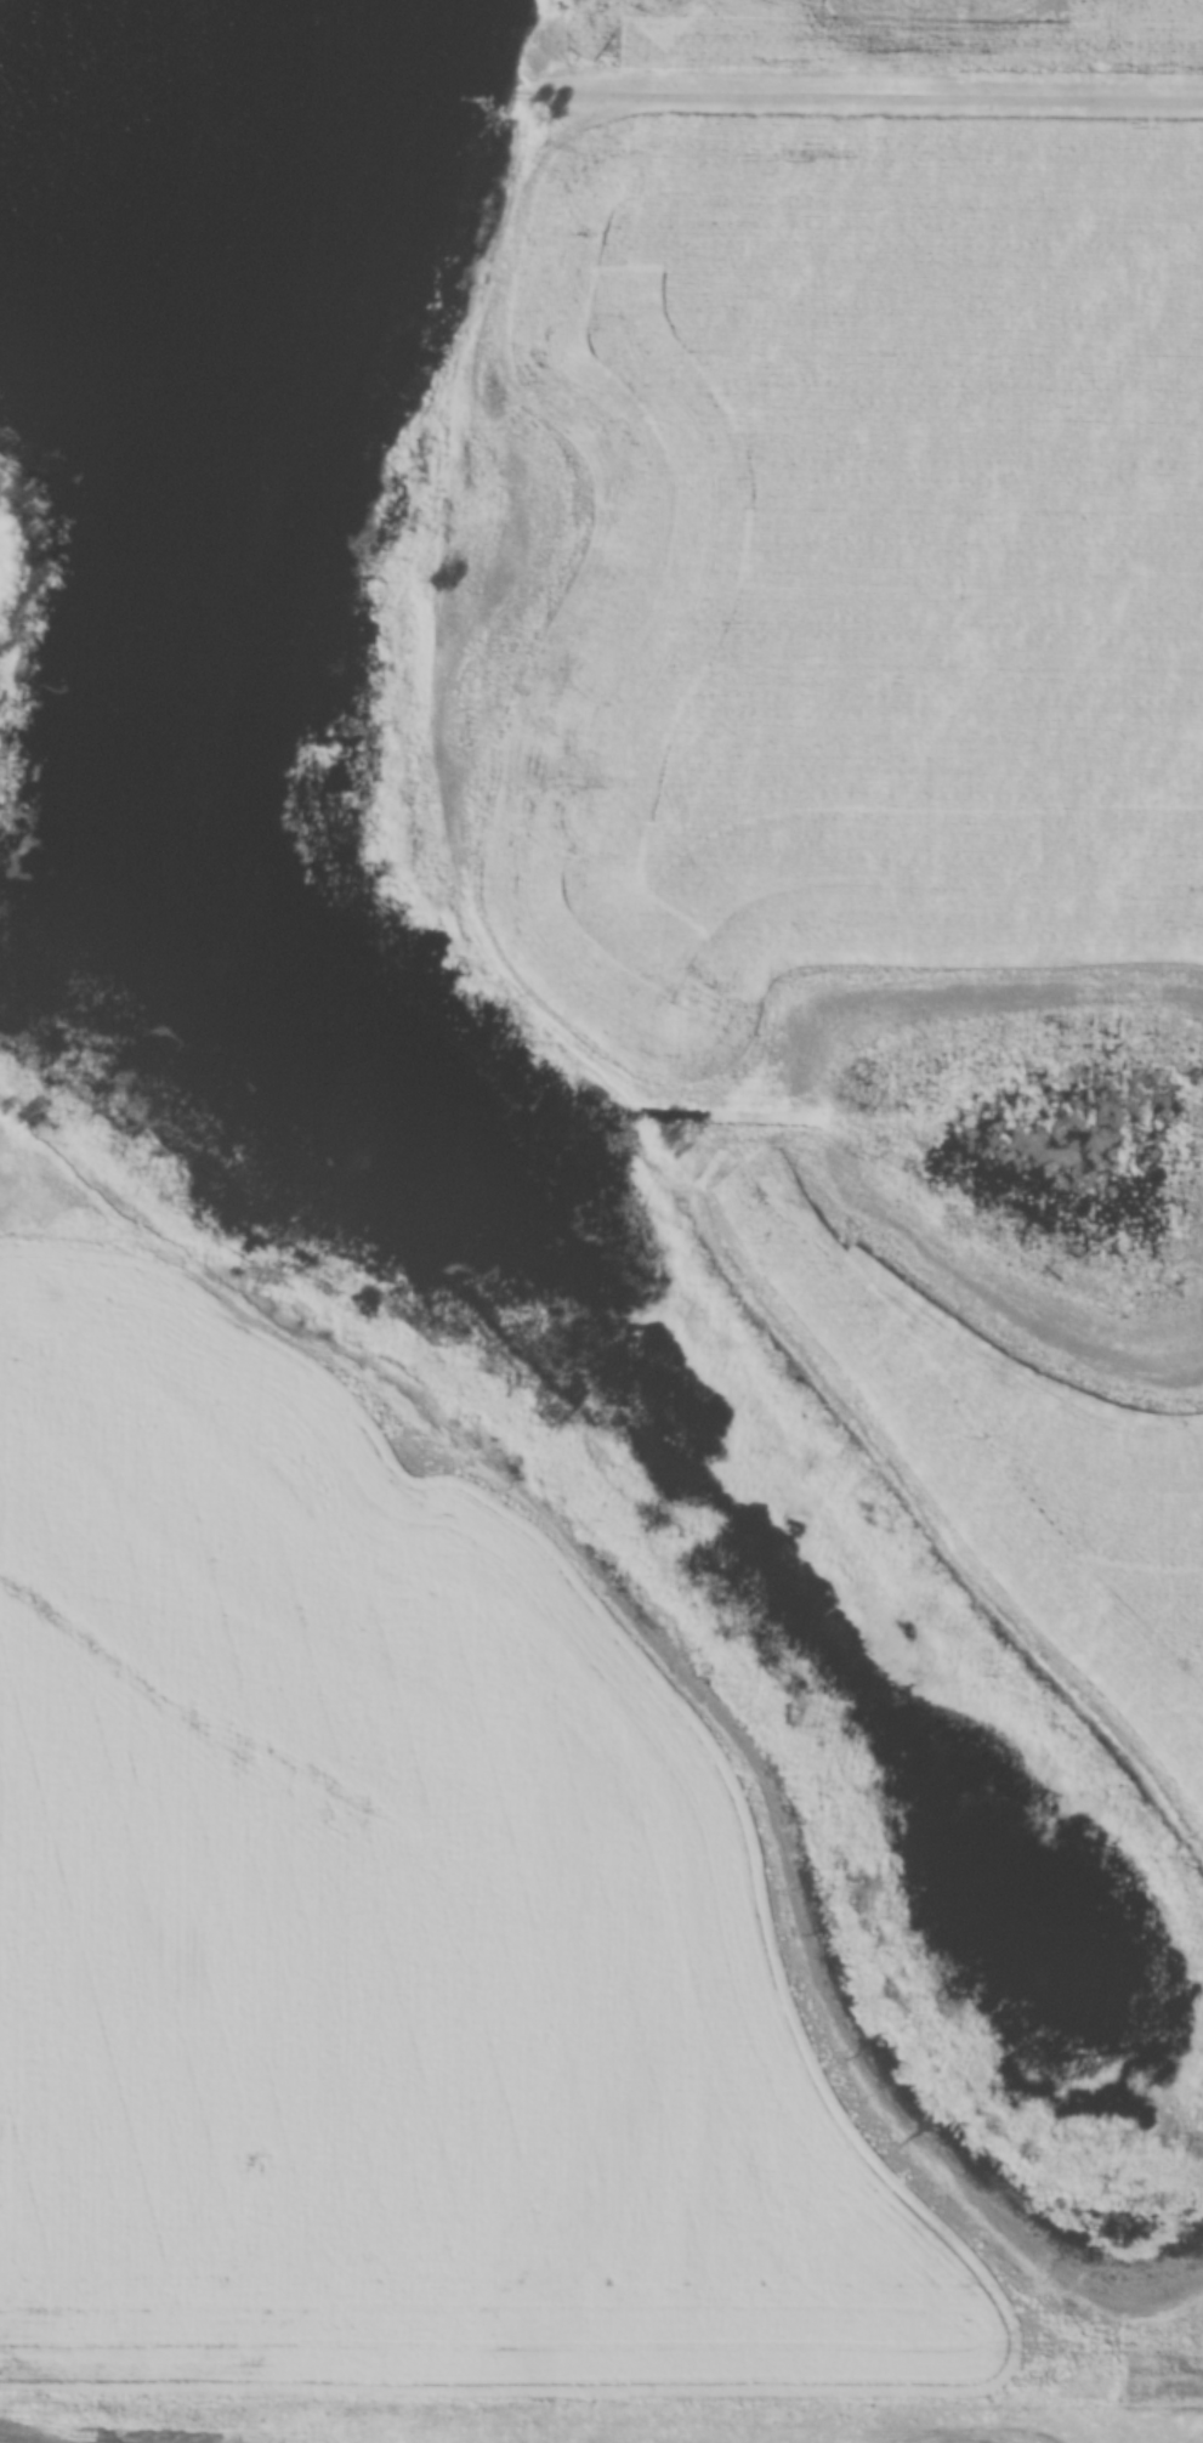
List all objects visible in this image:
road: (601, 93)

